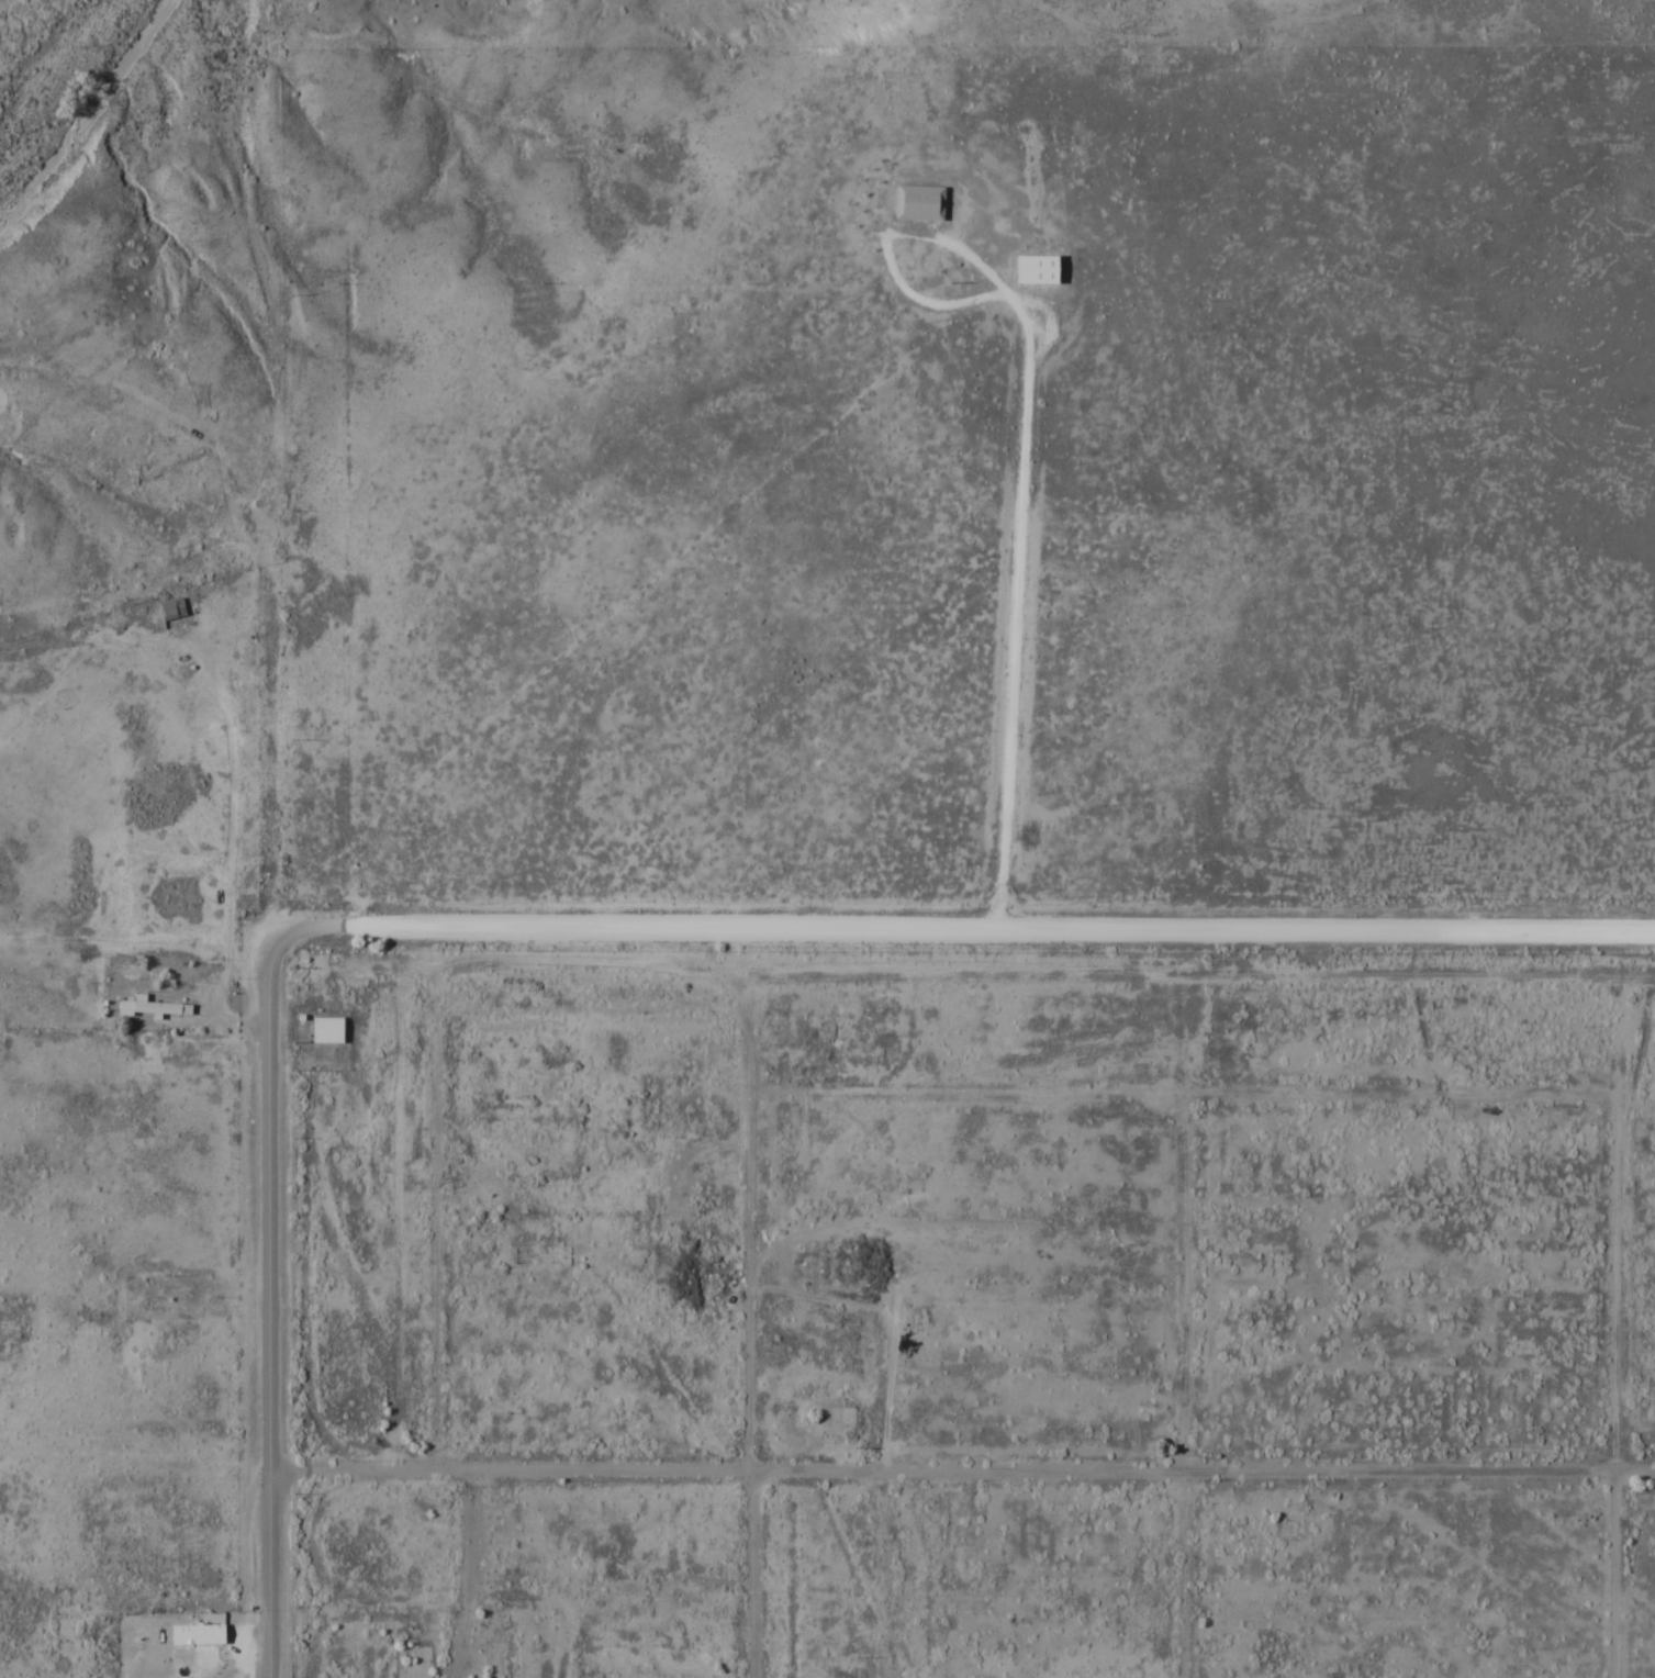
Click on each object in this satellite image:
building: (918, 201)
building: (1035, 269)
road: (1020, 452)
building: (171, 607)
road: (253, 631)
road: (971, 930)
building: (150, 1005)
building: (324, 1028)
road: (1165, 1089)
building: (523, 1253)
road: (268, 1301)
road: (1182, 1383)
building: (832, 1419)
road: (962, 1472)
building: (202, 1634)

